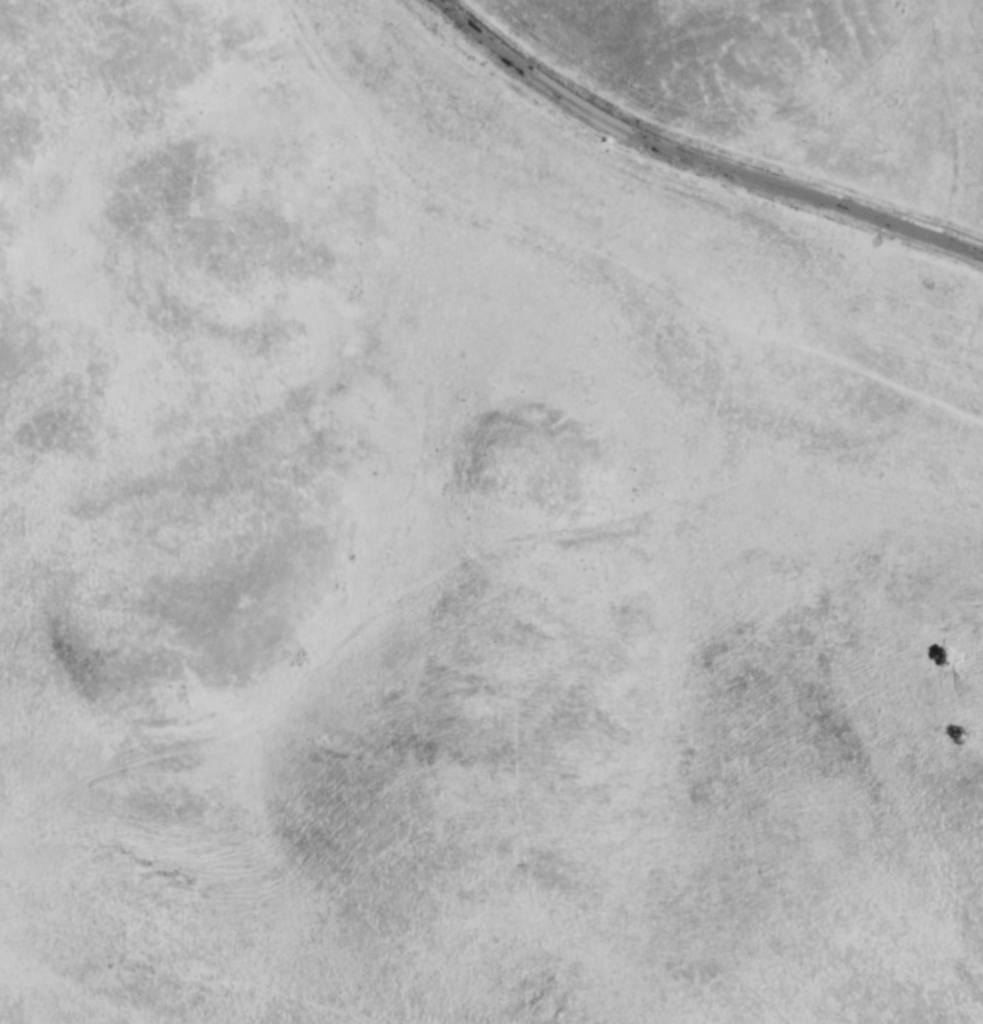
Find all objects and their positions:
road: (686, 164)

